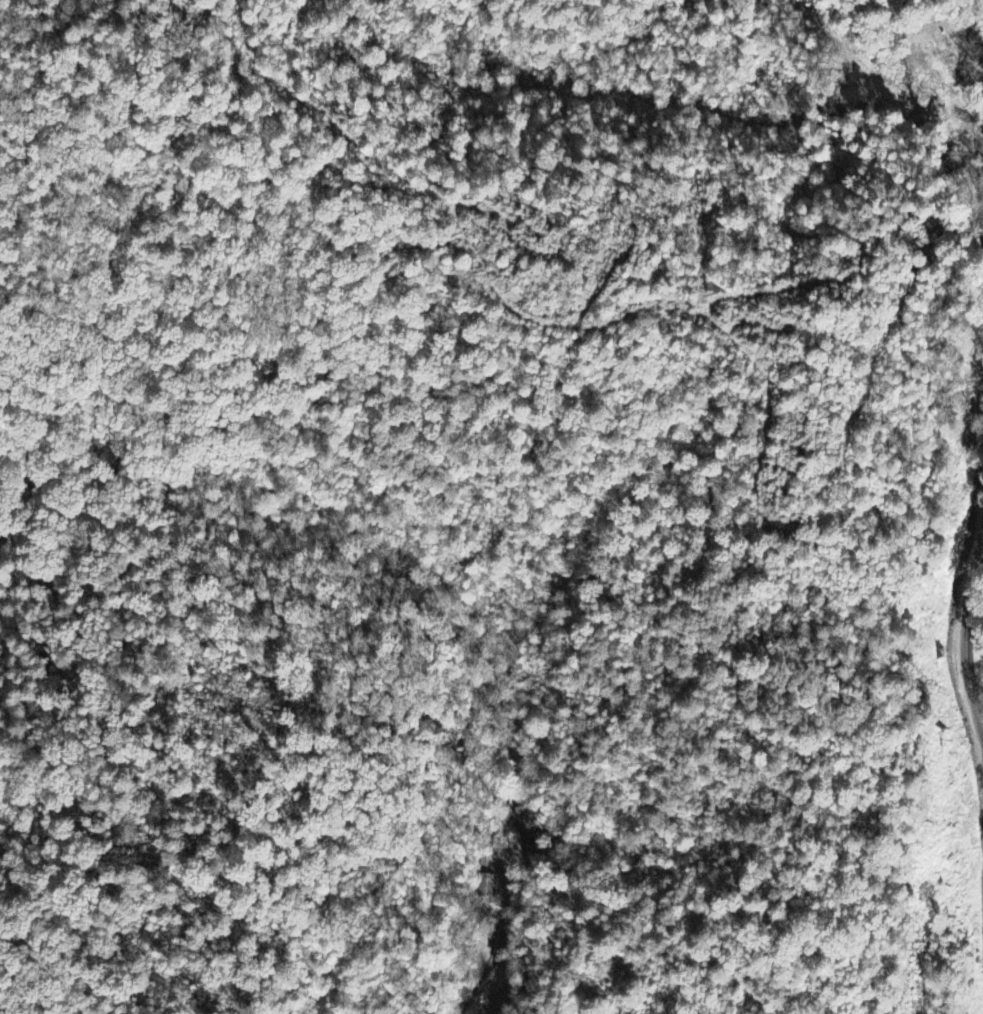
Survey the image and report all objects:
road: (965, 631)
building: (527, 823)
road: (501, 901)

